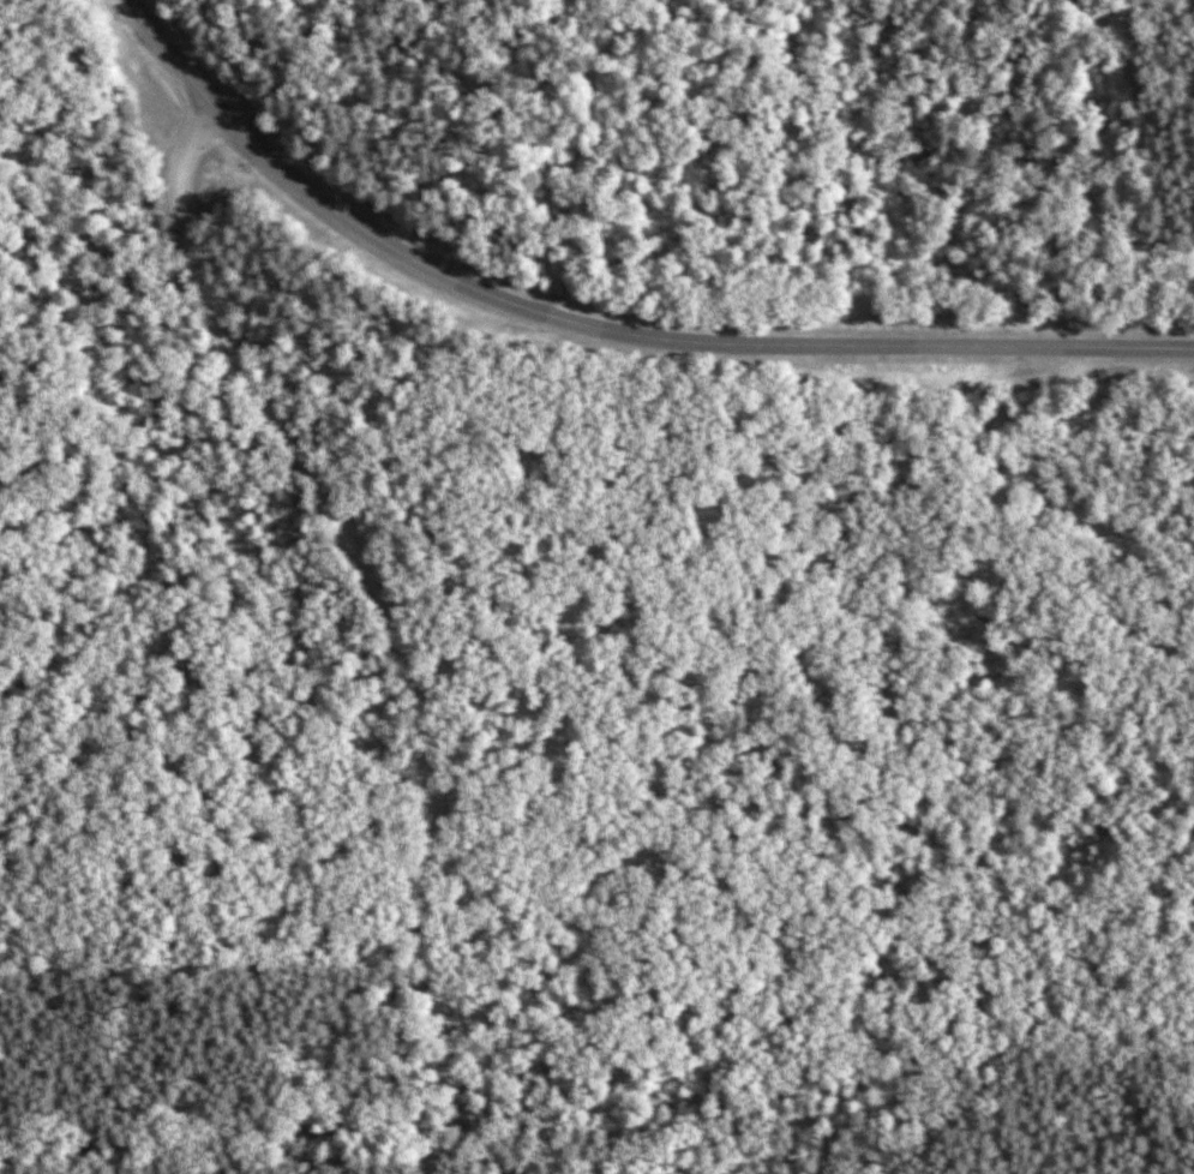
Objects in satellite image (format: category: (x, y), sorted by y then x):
road: (601, 328)
road: (390, 621)
road: (234, 1134)

